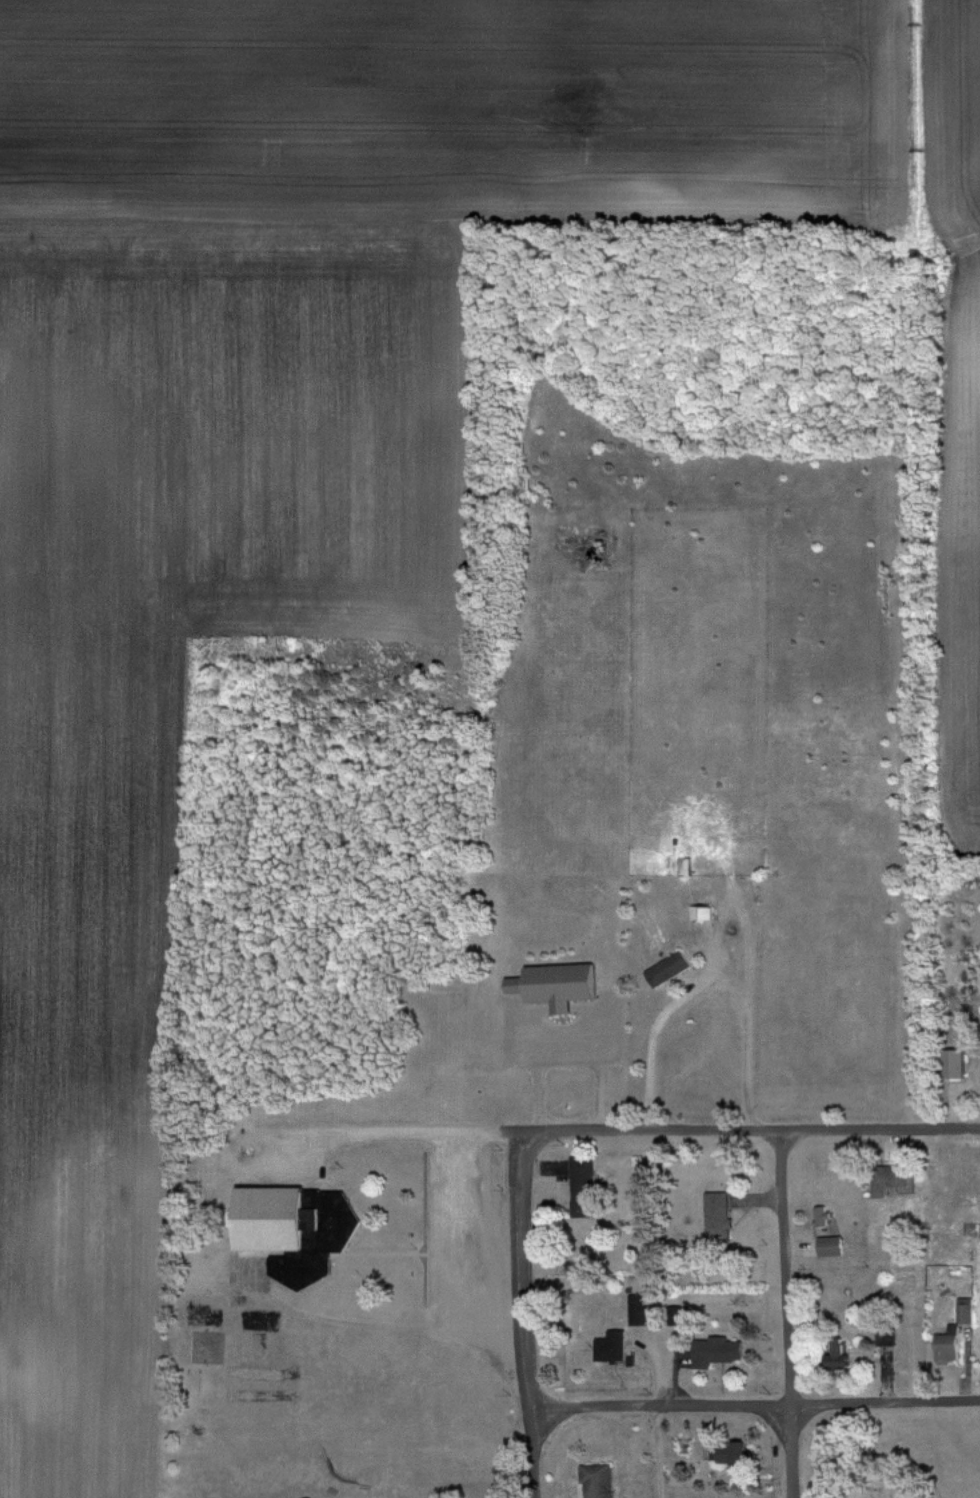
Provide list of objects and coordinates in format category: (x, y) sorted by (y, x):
building: (671, 968)
building: (560, 984)
road: (652, 1043)
road: (752, 1136)
building: (893, 1179)
building: (586, 1187)
building: (721, 1214)
building: (834, 1245)
road: (532, 1316)
building: (641, 1316)
road: (789, 1316)
building: (956, 1335)
building: (615, 1346)
building: (721, 1351)
building: (841, 1354)
road: (758, 1407)
road: (660, 1452)
building: (601, 1481)

